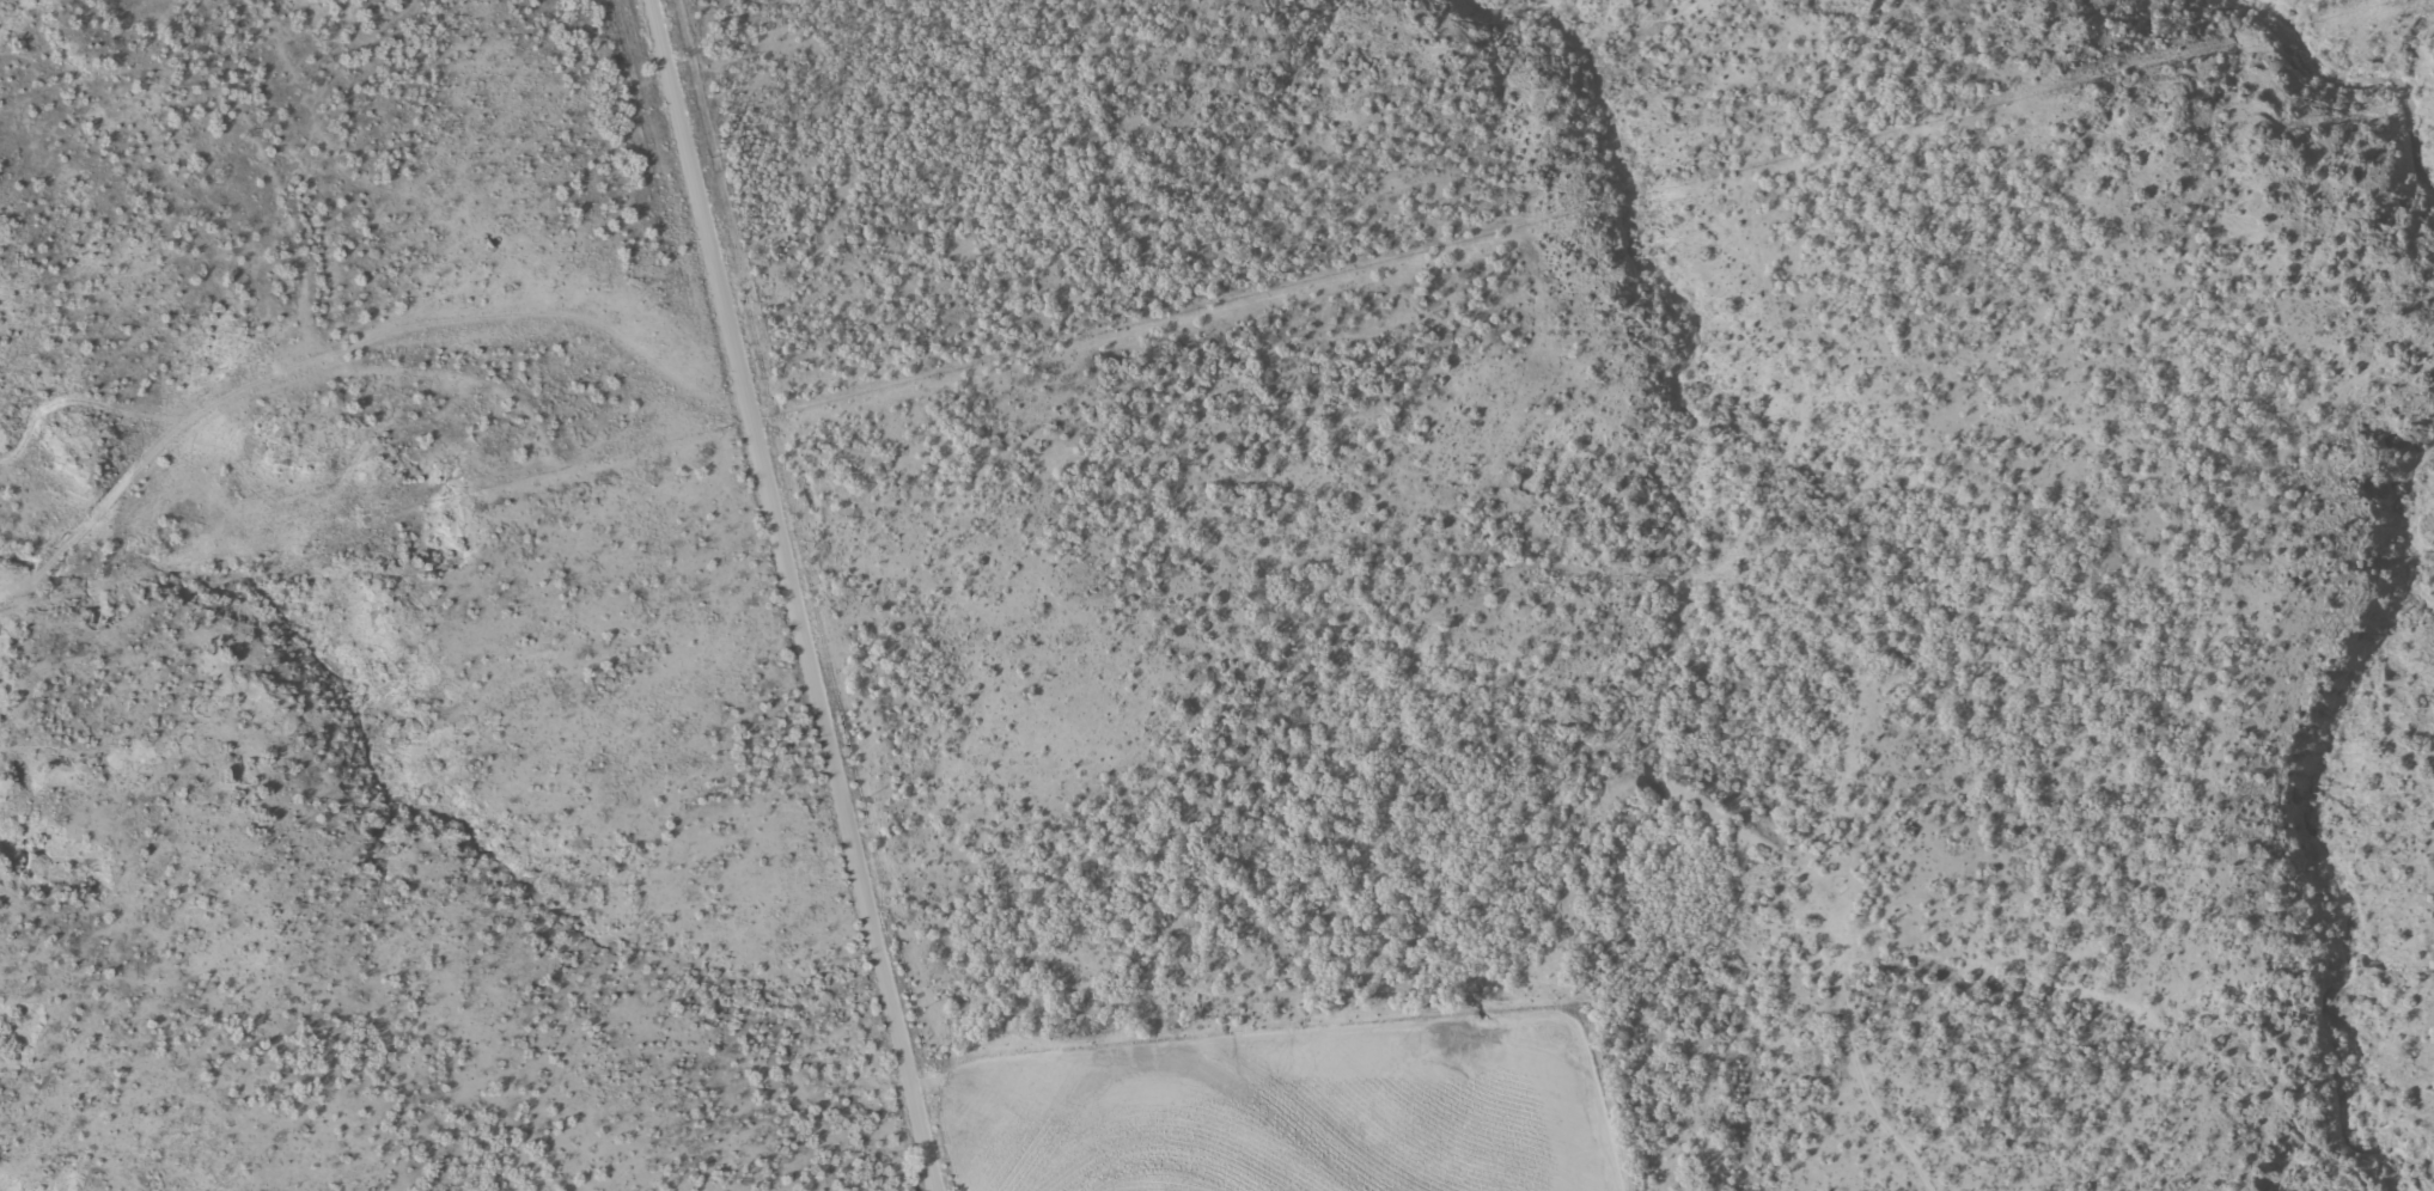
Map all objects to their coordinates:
road: (767, 595)
road: (1874, 1027)

